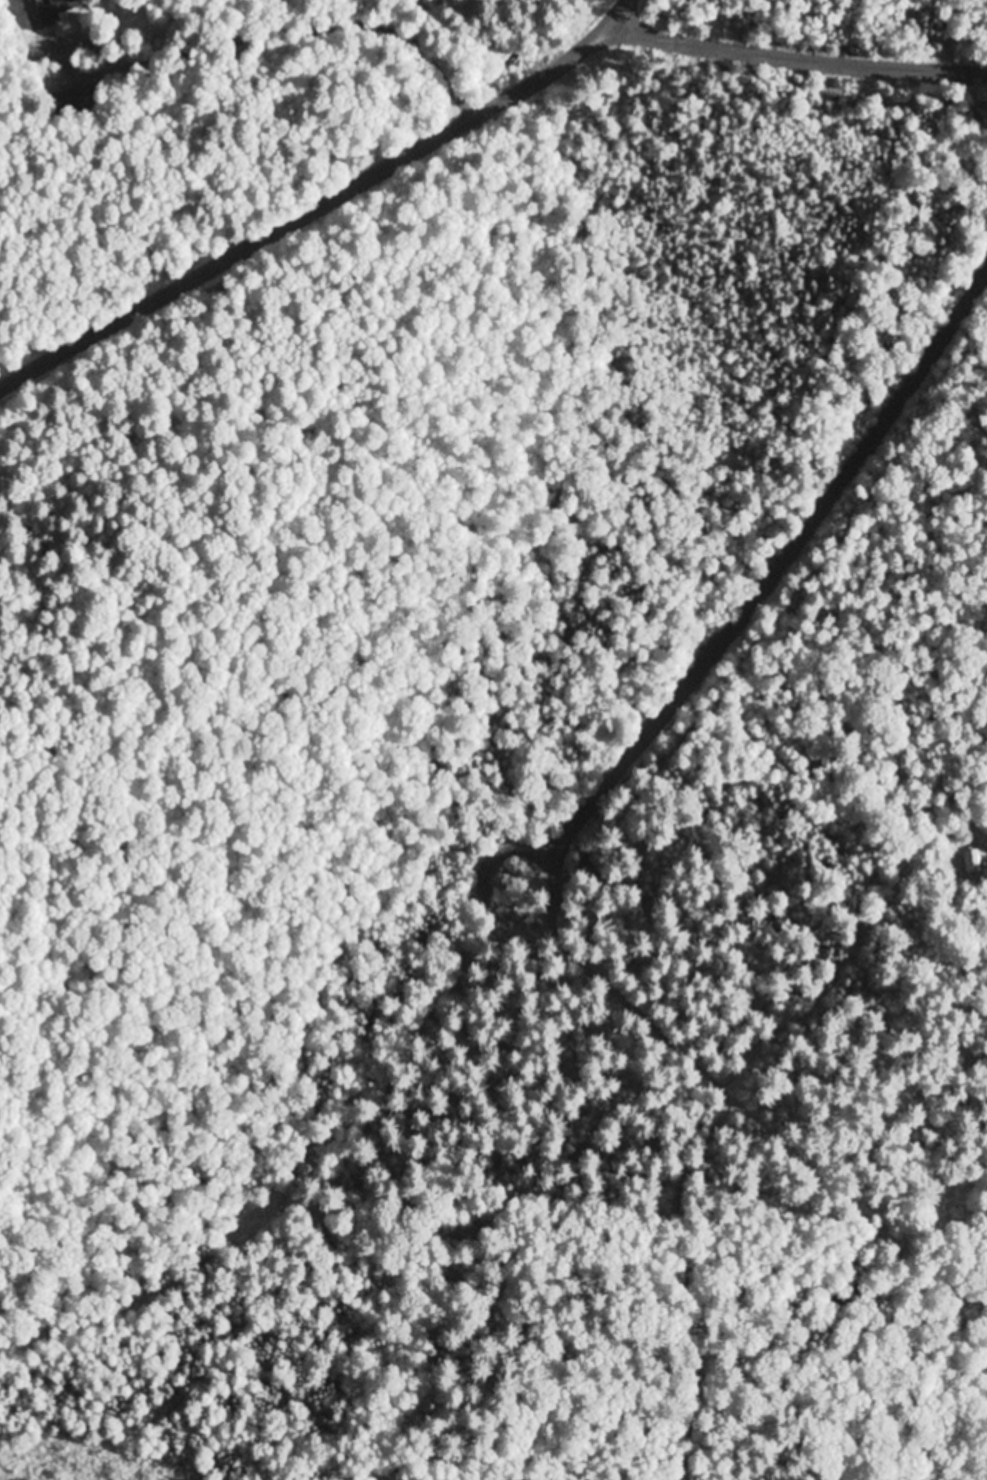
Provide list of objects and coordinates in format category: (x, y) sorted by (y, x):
road: (512, 42)
road: (595, 43)
road: (801, 55)
road: (403, 57)
road: (272, 234)
road: (51, 277)
road: (961, 317)
road: (961, 394)
road: (759, 595)
road: (860, 798)
building: (978, 858)
road: (556, 882)

